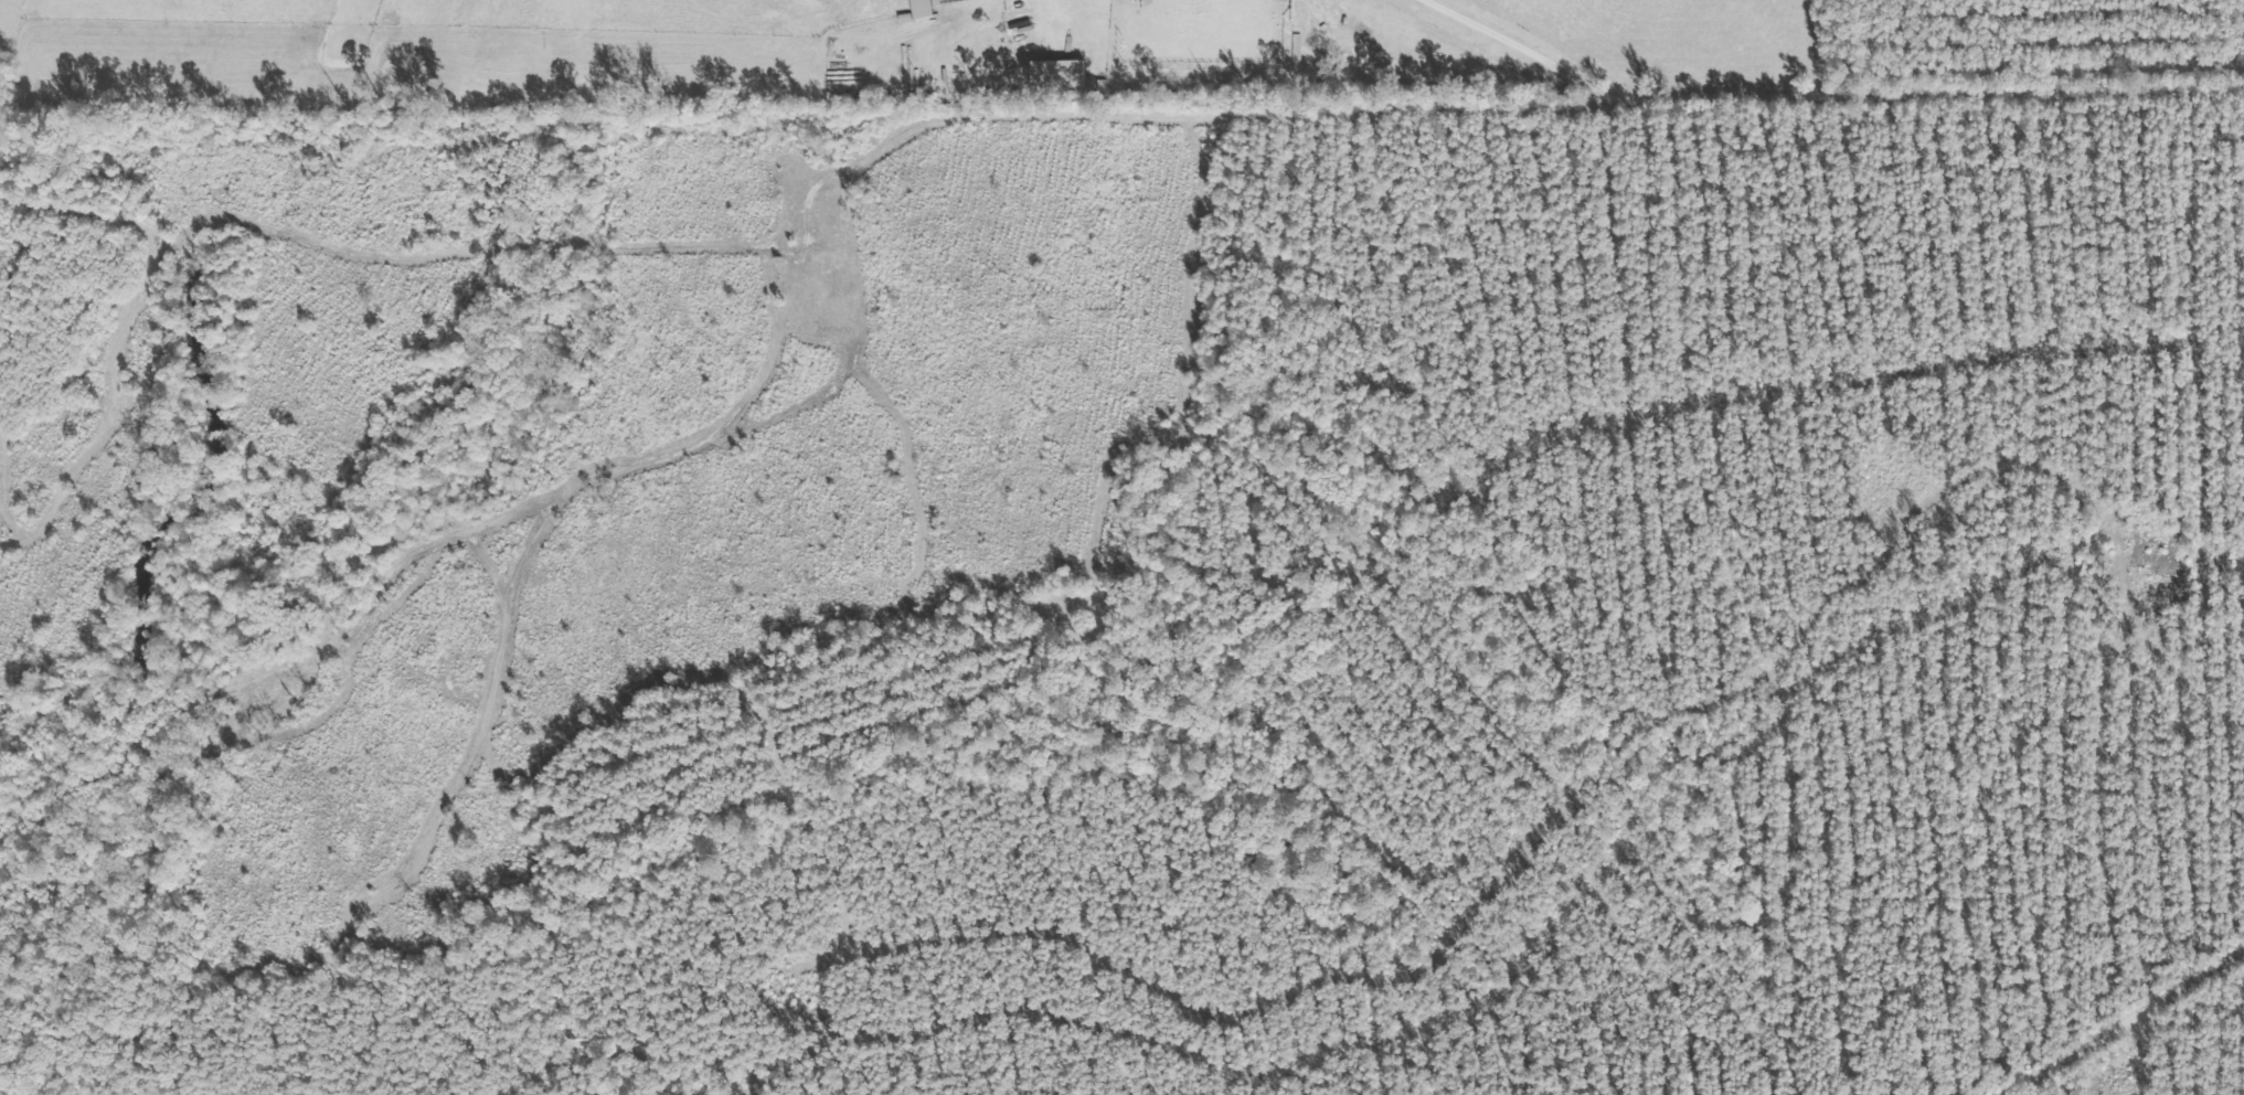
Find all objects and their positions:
building: (925, 9)
building: (1061, 74)
road: (1826, 92)
road: (2120, 1021)

